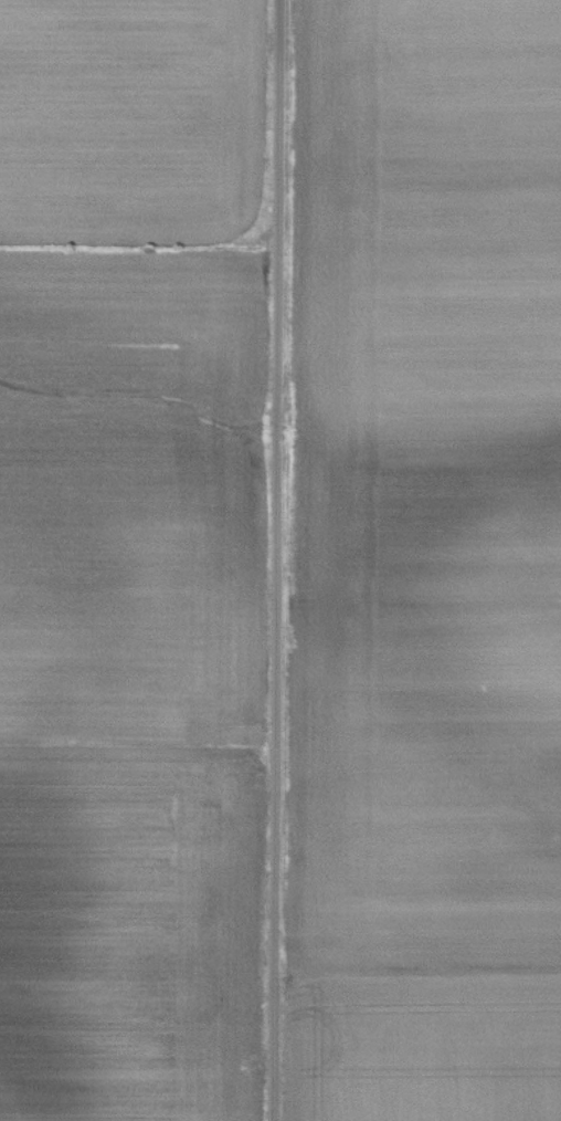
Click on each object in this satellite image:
road: (277, 560)

